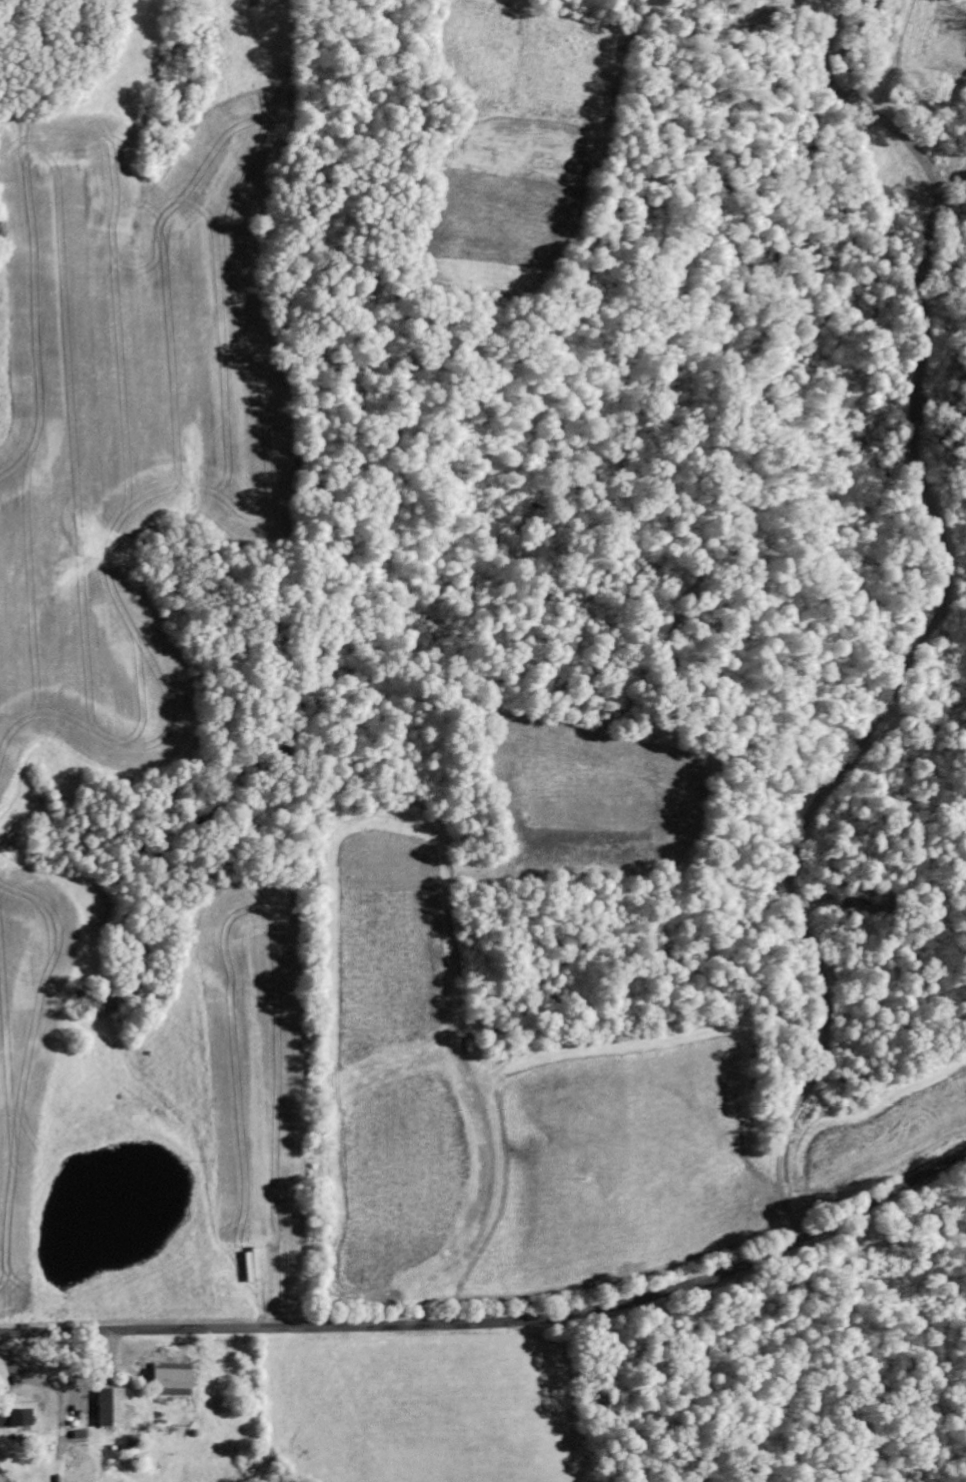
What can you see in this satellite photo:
road: (500, 1323)
building: (169, 1381)
building: (109, 1408)
building: (16, 1418)

